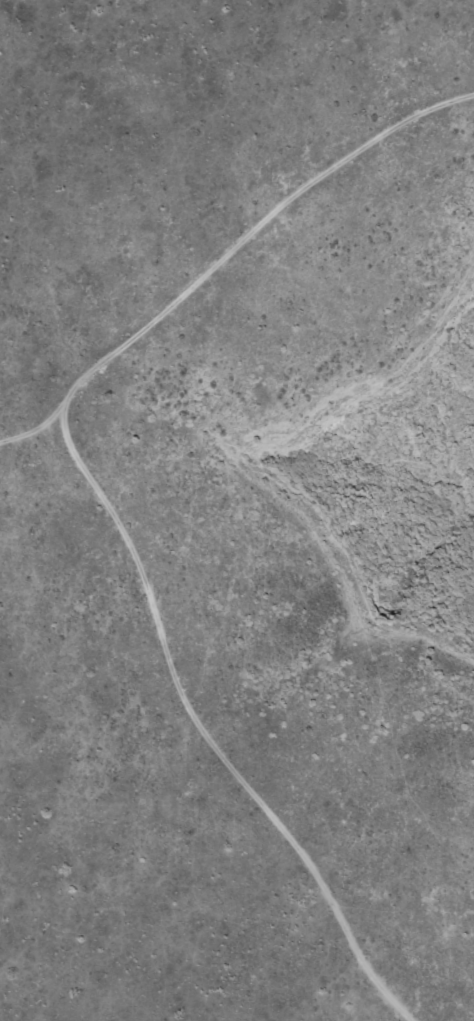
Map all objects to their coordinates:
road: (47, 545)

